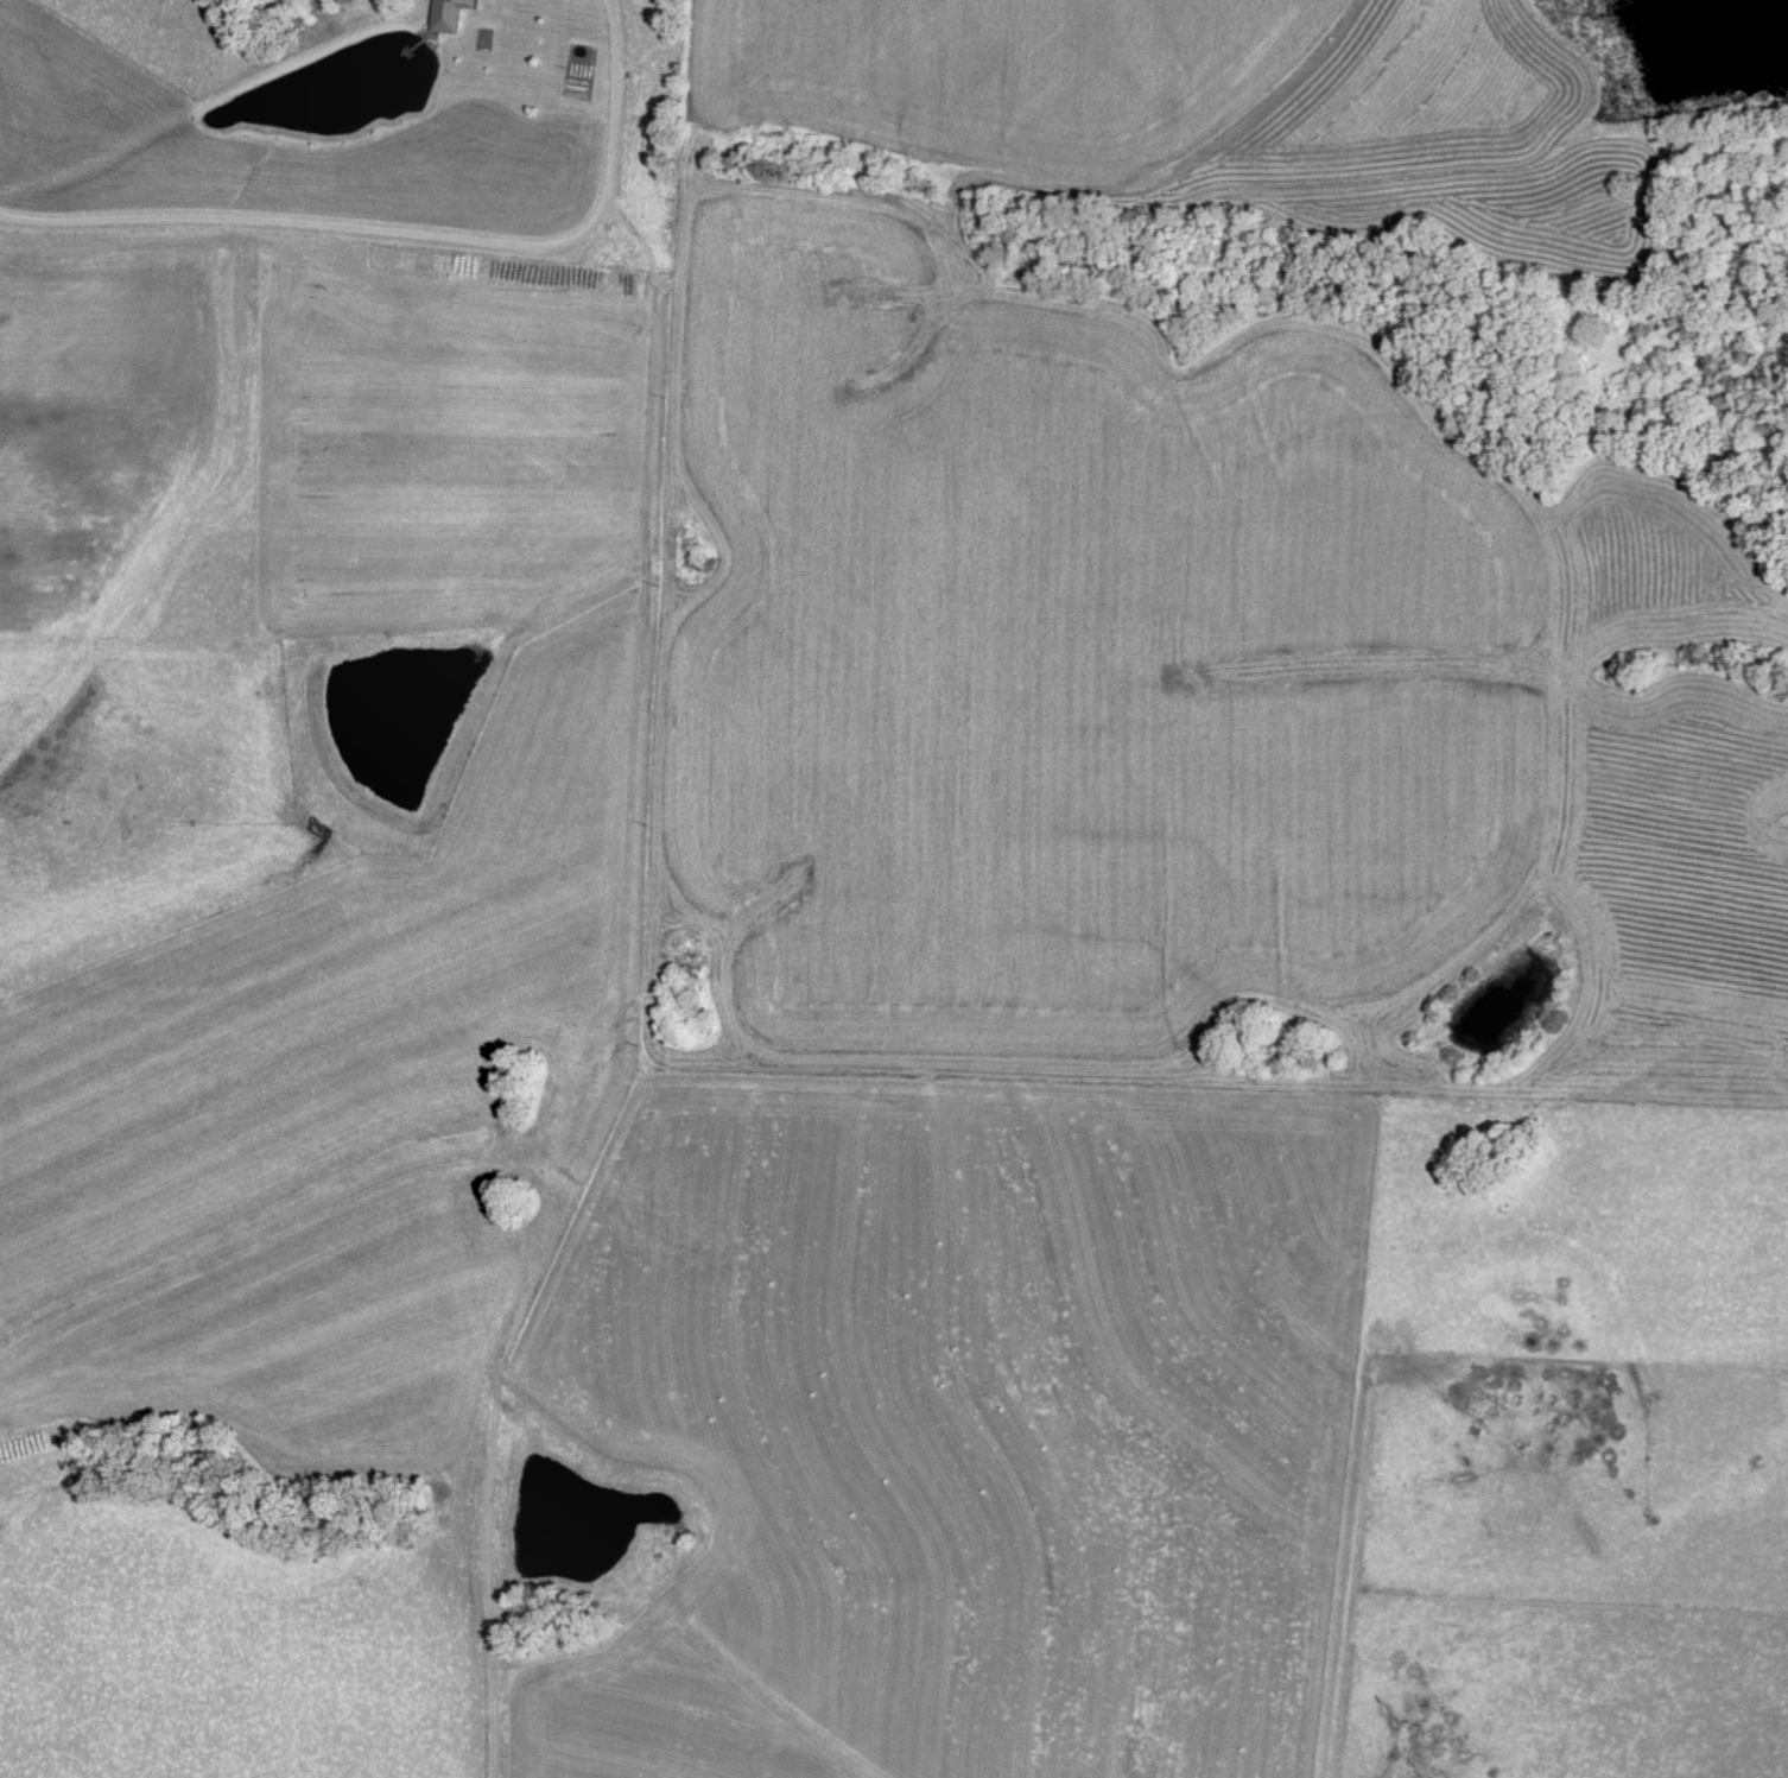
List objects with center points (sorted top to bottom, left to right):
building: (448, 14)
road: (411, 232)
road: (488, 1574)

